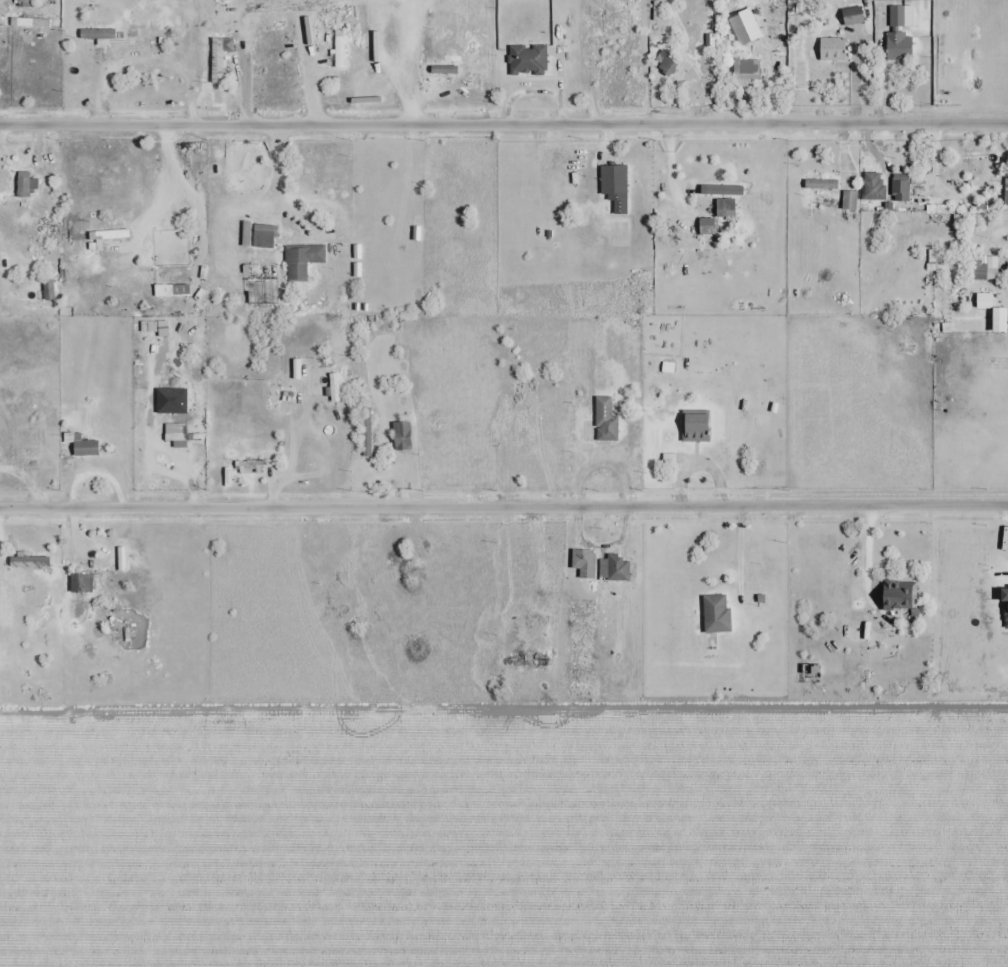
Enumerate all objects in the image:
building: (21, 0)
building: (361, 10)
building: (854, 20)
building: (772, 22)
building: (901, 33)
building: (99, 35)
building: (832, 50)
building: (528, 60)
building: (219, 62)
building: (746, 72)
road: (504, 124)
building: (614, 180)
building: (822, 184)
building: (26, 185)
road: (278, 186)
building: (901, 188)
building: (1006, 194)
building: (719, 216)
building: (38, 229)
building: (265, 237)
building: (303, 261)
building: (985, 274)
building: (170, 290)
building: (513, 421)
building: (606, 421)
building: (696, 428)
building: (368, 433)
building: (402, 436)
building: (87, 448)
building: (252, 467)
road: (504, 508)
building: (31, 562)
building: (585, 564)
building: (615, 569)
building: (83, 584)
building: (900, 596)
building: (717, 614)
building: (526, 662)
building: (815, 674)

